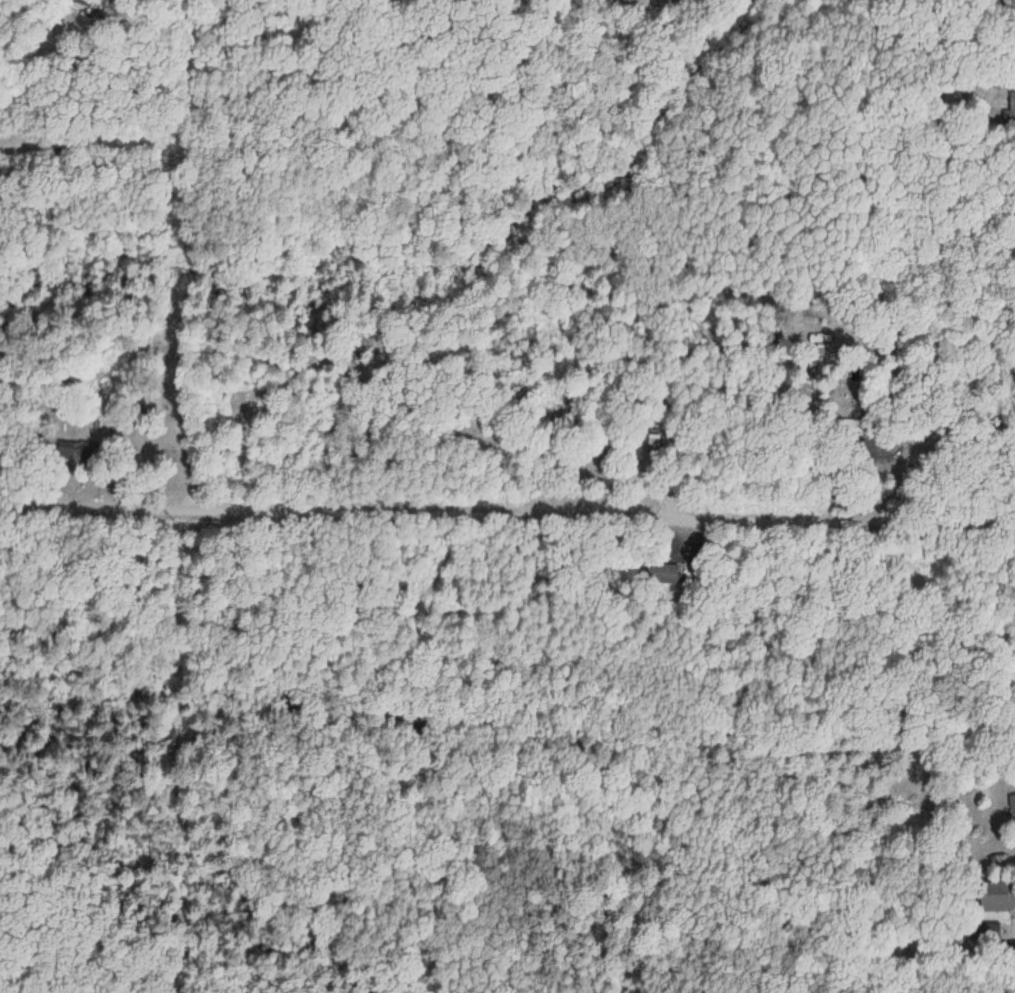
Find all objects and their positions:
road: (69, 107)
building: (1010, 110)
building: (72, 450)
building: (648, 450)
road: (507, 512)
building: (662, 574)
building: (1012, 808)
building: (994, 895)

